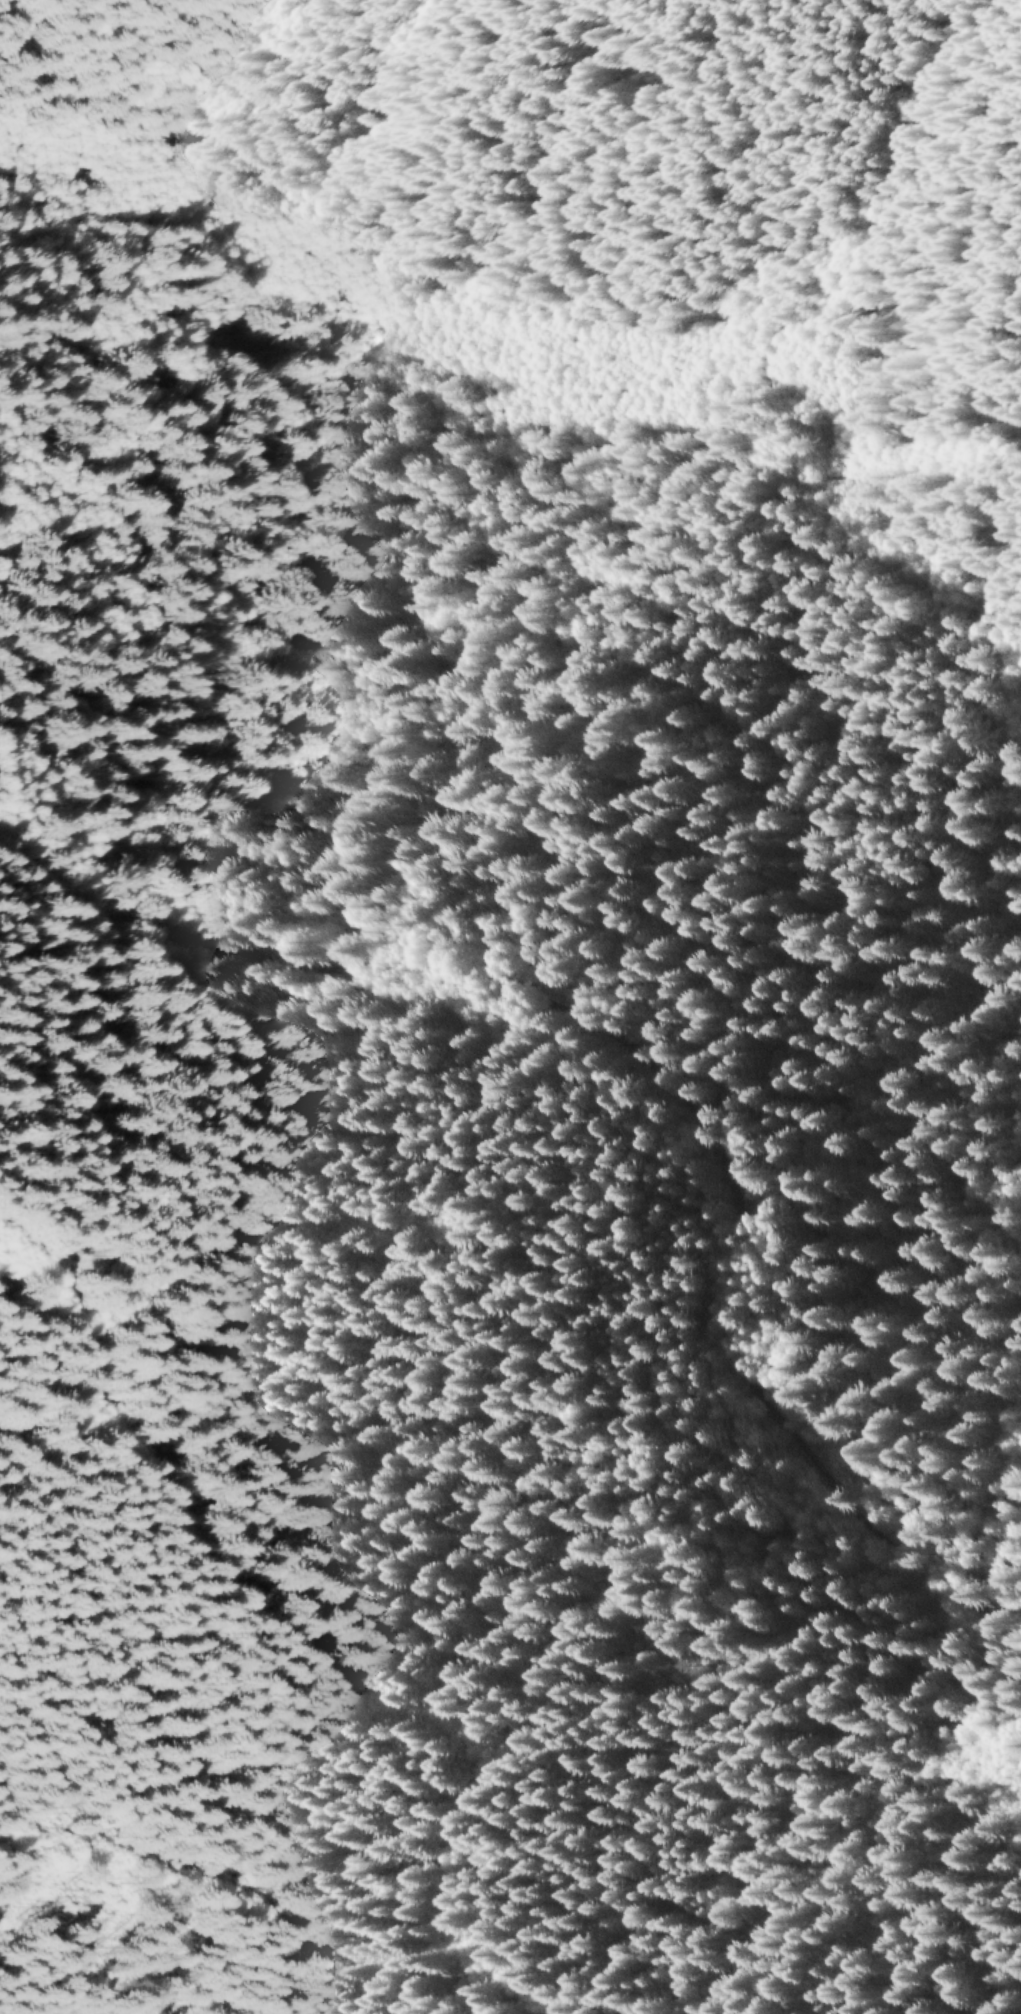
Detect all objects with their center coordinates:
road: (664, 1105)

